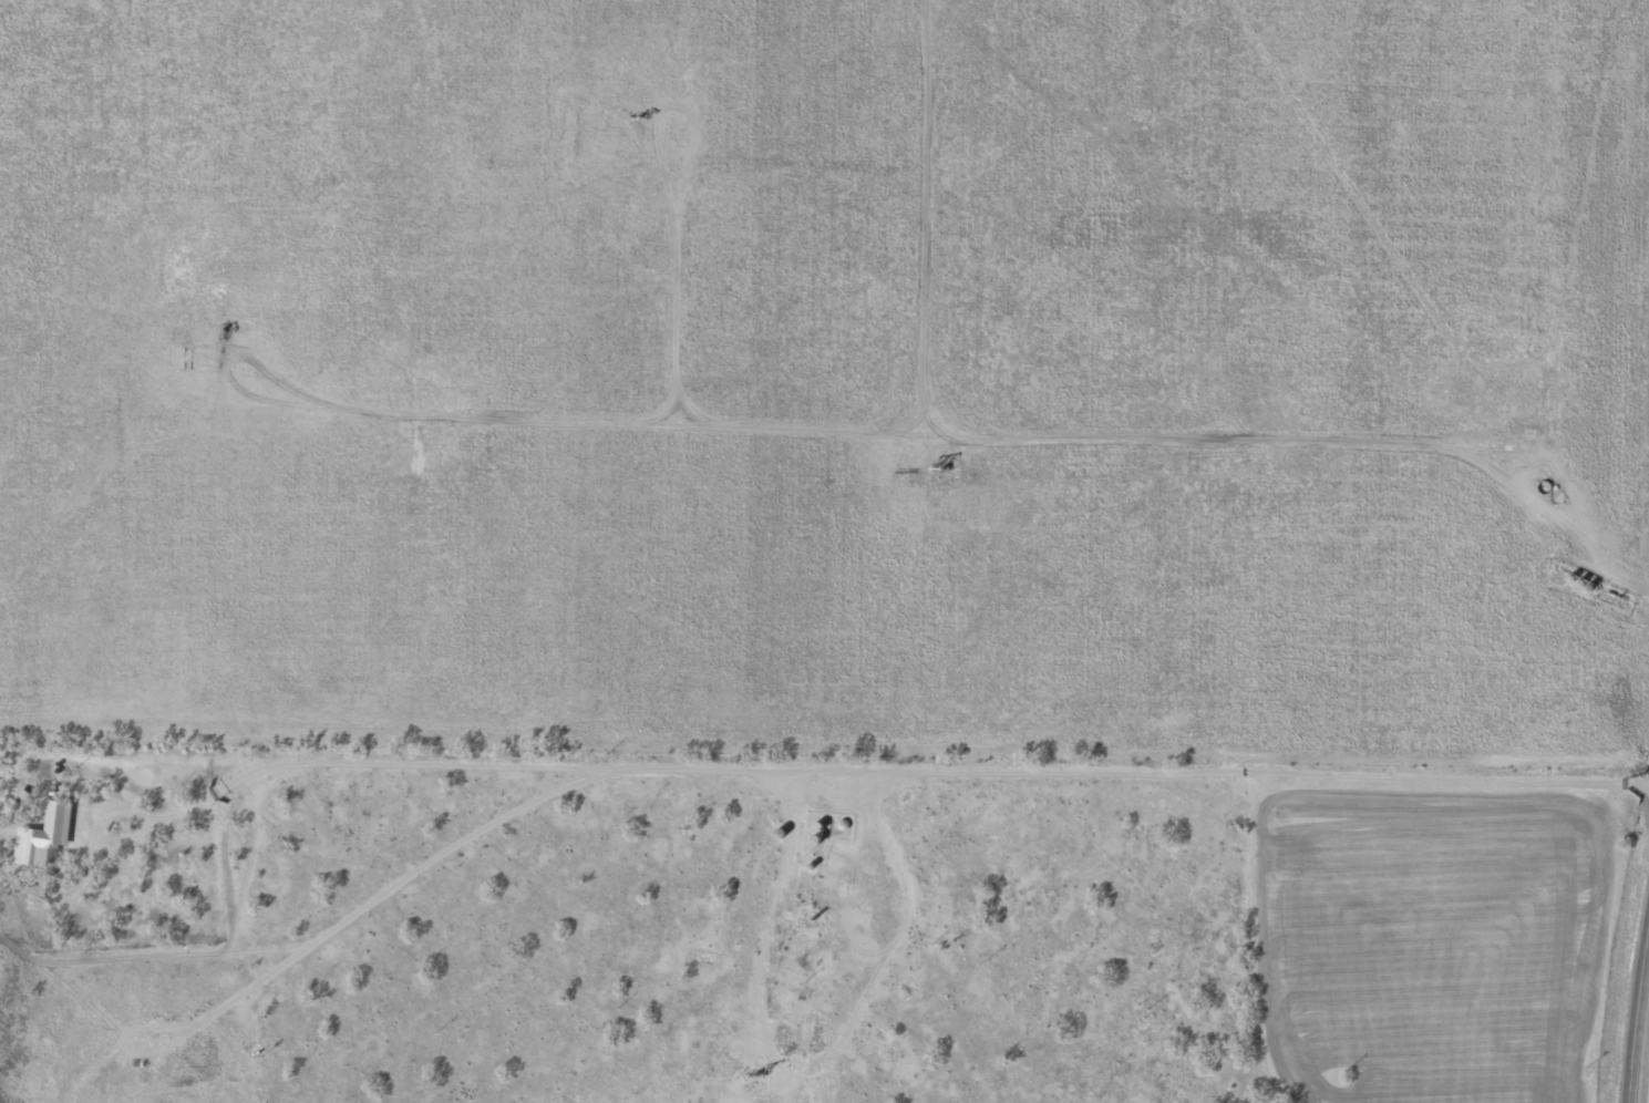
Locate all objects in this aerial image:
road: (824, 762)
road: (989, 1013)
road: (1637, 1021)

